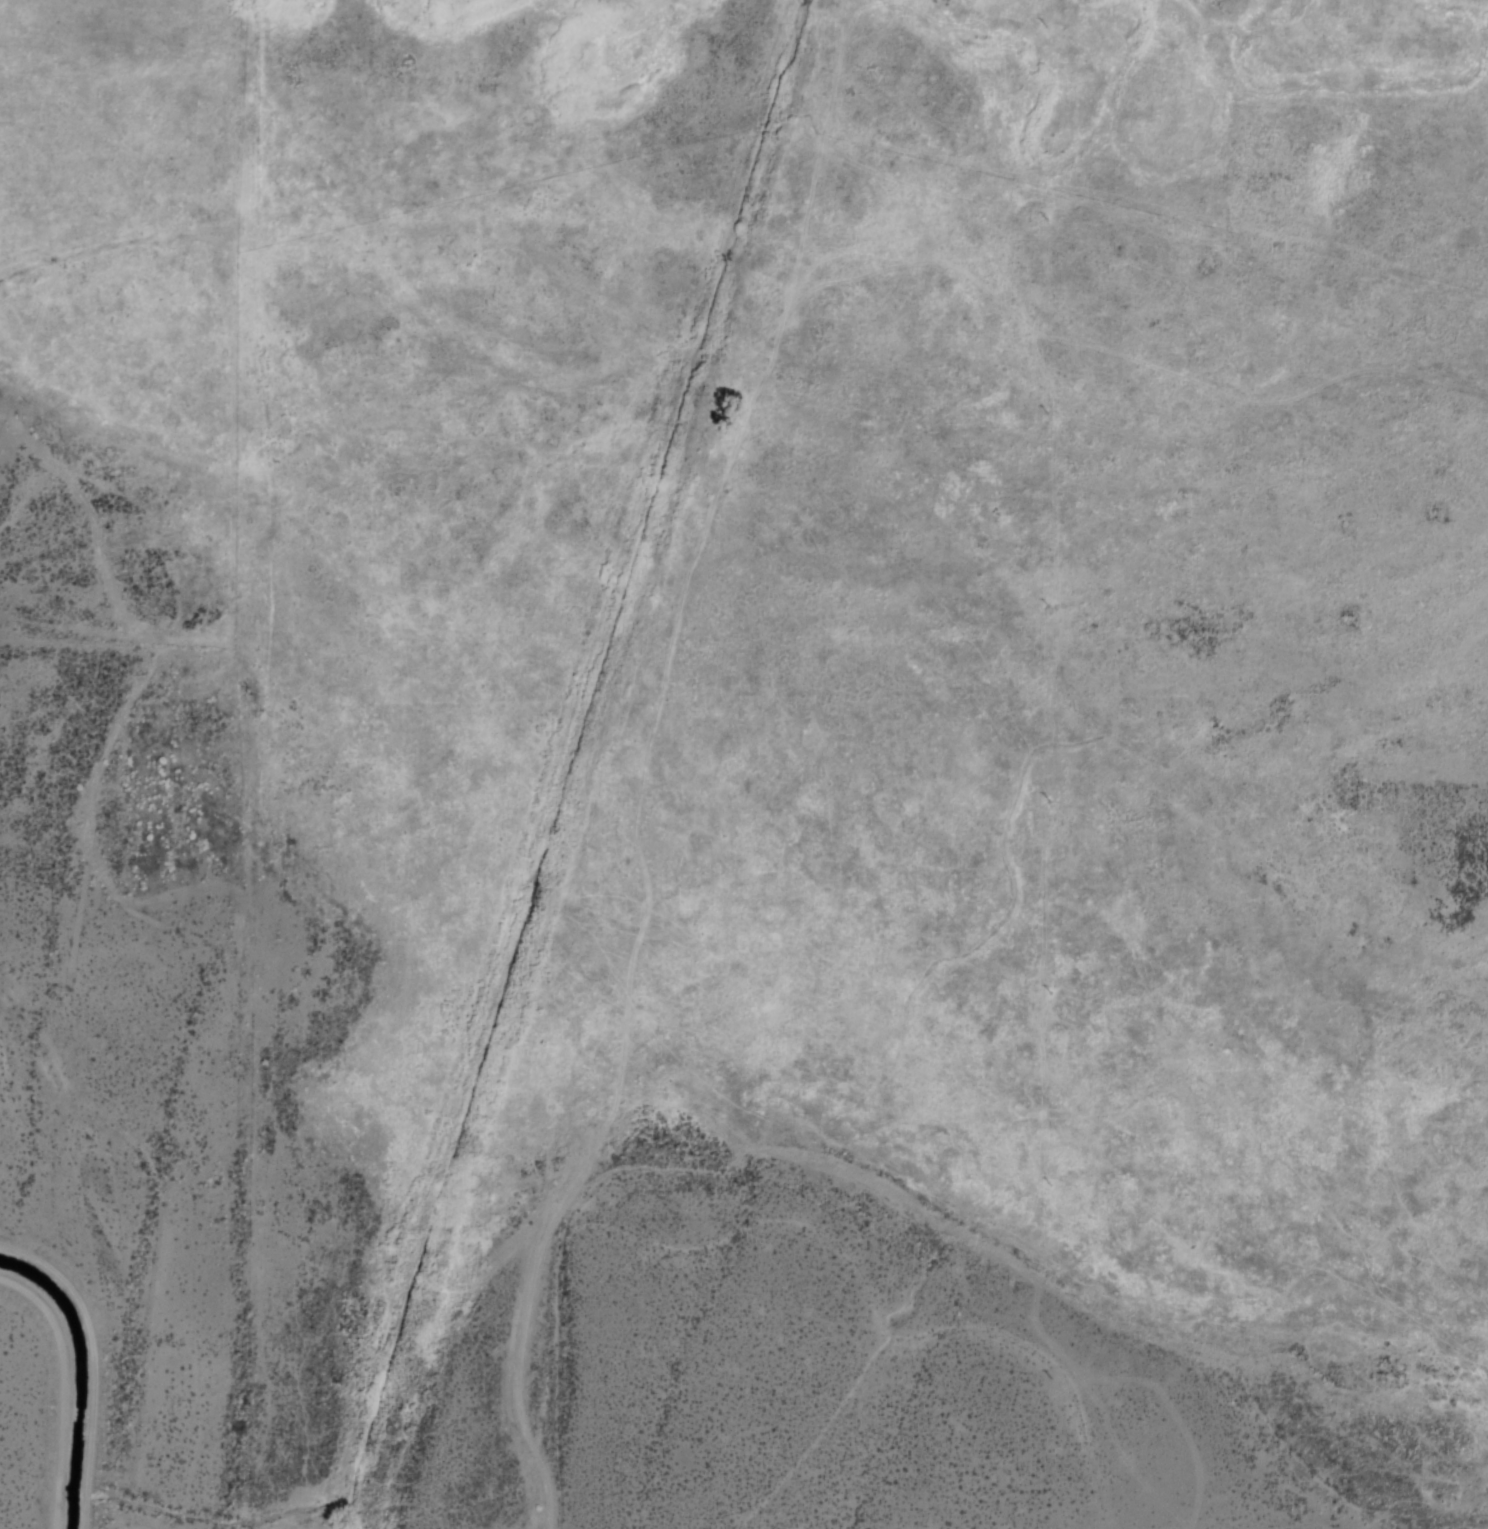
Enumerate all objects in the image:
road: (695, 552)
road: (93, 1363)
road: (66, 1386)

